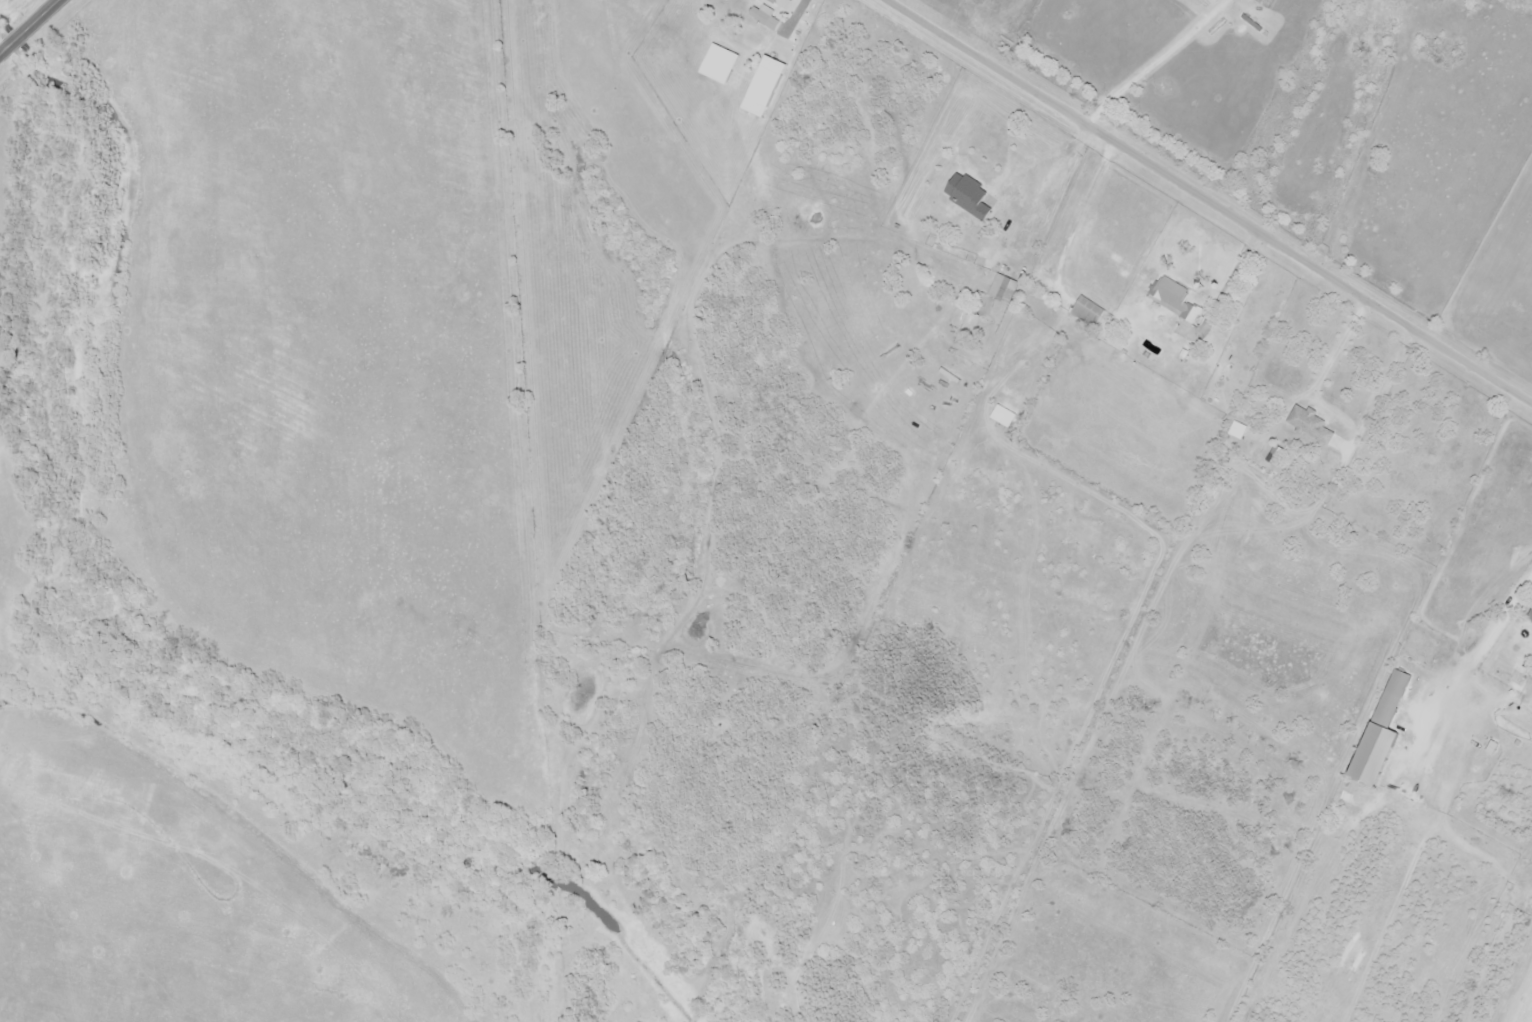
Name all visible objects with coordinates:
road: (29, 27)
road: (1209, 202)
building: (1175, 301)
building: (1529, 617)
road: (1504, 621)
building: (1378, 730)

